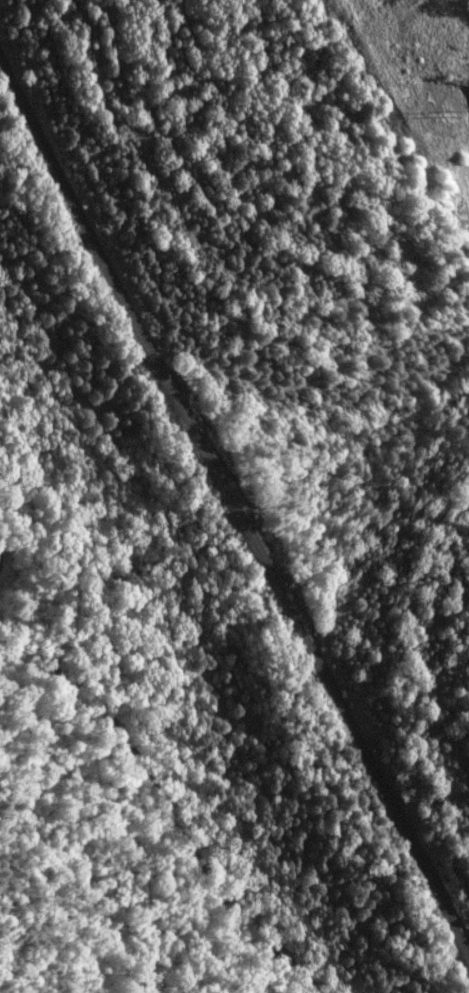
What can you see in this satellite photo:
airport: (441, 44)
power tower: (445, 117)
railway: (235, 510)

